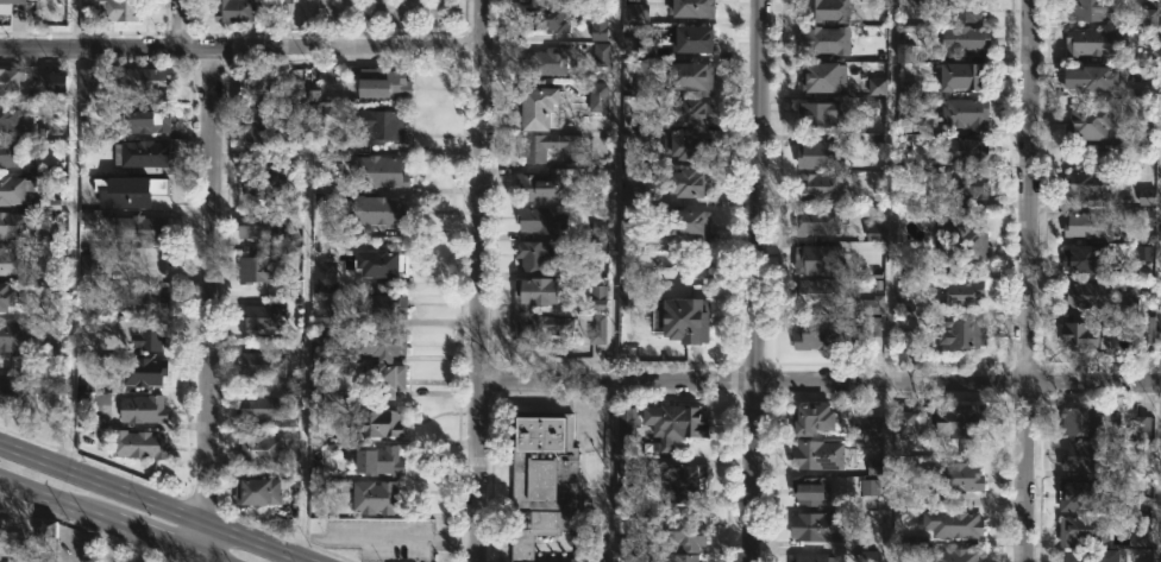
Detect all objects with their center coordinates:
building: (282, 0)
building: (525, 1)
building: (916, 2)
building: (7, 5)
building: (691, 8)
building: (107, 10)
building: (1091, 10)
building: (232, 11)
building: (827, 11)
building: (965, 11)
building: (634, 13)
building: (1150, 13)
building: (546, 20)
road: (70, 24)
road: (182, 25)
building: (692, 39)
building: (824, 40)
building: (966, 42)
building: (1099, 42)
building: (644, 45)
road: (239, 49)
building: (904, 53)
building: (545, 62)
building: (961, 75)
building: (823, 77)
building: (1091, 77)
building: (691, 78)
building: (86, 80)
building: (142, 80)
building: (8, 81)
building: (259, 81)
building: (59, 83)
building: (382, 83)
building: (644, 86)
building: (877, 86)
building: (908, 87)
building: (598, 96)
building: (632, 106)
building: (535, 107)
building: (965, 113)
building: (690, 114)
building: (817, 115)
building: (7, 116)
building: (146, 120)
building: (1090, 121)
building: (257, 124)
building: (379, 127)
building: (690, 149)
building: (531, 151)
building: (966, 151)
building: (8, 153)
building: (820, 154)
building: (140, 156)
building: (377, 171)
building: (684, 182)
building: (264, 184)
building: (822, 185)
building: (1090, 185)
building: (536, 187)
road: (614, 189)
building: (13, 190)
building: (961, 194)
building: (630, 196)
building: (377, 211)
building: (539, 220)
building: (820, 221)
building: (686, 222)
building: (8, 223)
building: (261, 225)
building: (1087, 226)
building: (143, 229)
building: (960, 242)
building: (1143, 253)
building: (533, 255)
building: (1085, 259)
road: (71, 260)
building: (817, 260)
building: (11, 263)
building: (377, 265)
building: (87, 269)
building: (255, 270)
building: (902, 271)
building: (320, 276)
road: (479, 280)
road: (755, 280)
road: (889, 280)
road: (1030, 280)
building: (533, 293)
building: (818, 293)
building: (960, 293)
building: (1086, 295)
building: (5, 297)
building: (137, 298)
building: (623, 298)
road: (211, 303)
building: (1128, 304)
building: (870, 305)
building: (379, 309)
building: (261, 318)
building: (322, 318)
building: (684, 318)
building: (542, 328)
building: (1148, 330)
building: (960, 331)
building: (821, 334)
building: (1078, 334)
building: (11, 336)
building: (146, 337)
building: (379, 345)
building: (319, 348)
building: (258, 365)
building: (140, 373)
building: (43, 379)
building: (379, 381)
road: (820, 381)
building: (11, 387)
building: (140, 409)
building: (257, 409)
building: (810, 419)
building: (1085, 421)
building: (673, 422)
building: (908, 422)
building: (961, 422)
building: (378, 424)
building: (626, 424)
building: (1142, 425)
building: (871, 427)
road: (1159, 443)
building: (136, 444)
building: (257, 449)
building: (816, 456)
building: (1090, 457)
building: (377, 461)
building: (630, 468)
road: (608, 471)
building: (541, 480)
building: (680, 482)
building: (945, 484)
building: (829, 490)
building: (257, 492)
building: (1078, 494)
building: (375, 498)
road: (149, 506)
road: (105, 522)
building: (952, 524)
building: (816, 526)
building: (1082, 530)
building: (678, 533)
building: (1142, 537)
building: (903, 552)
building: (870, 556)
building: (956, 556)
building: (1090, 556)
building: (811, 557)
building: (673, 558)
building: (560, 560)

